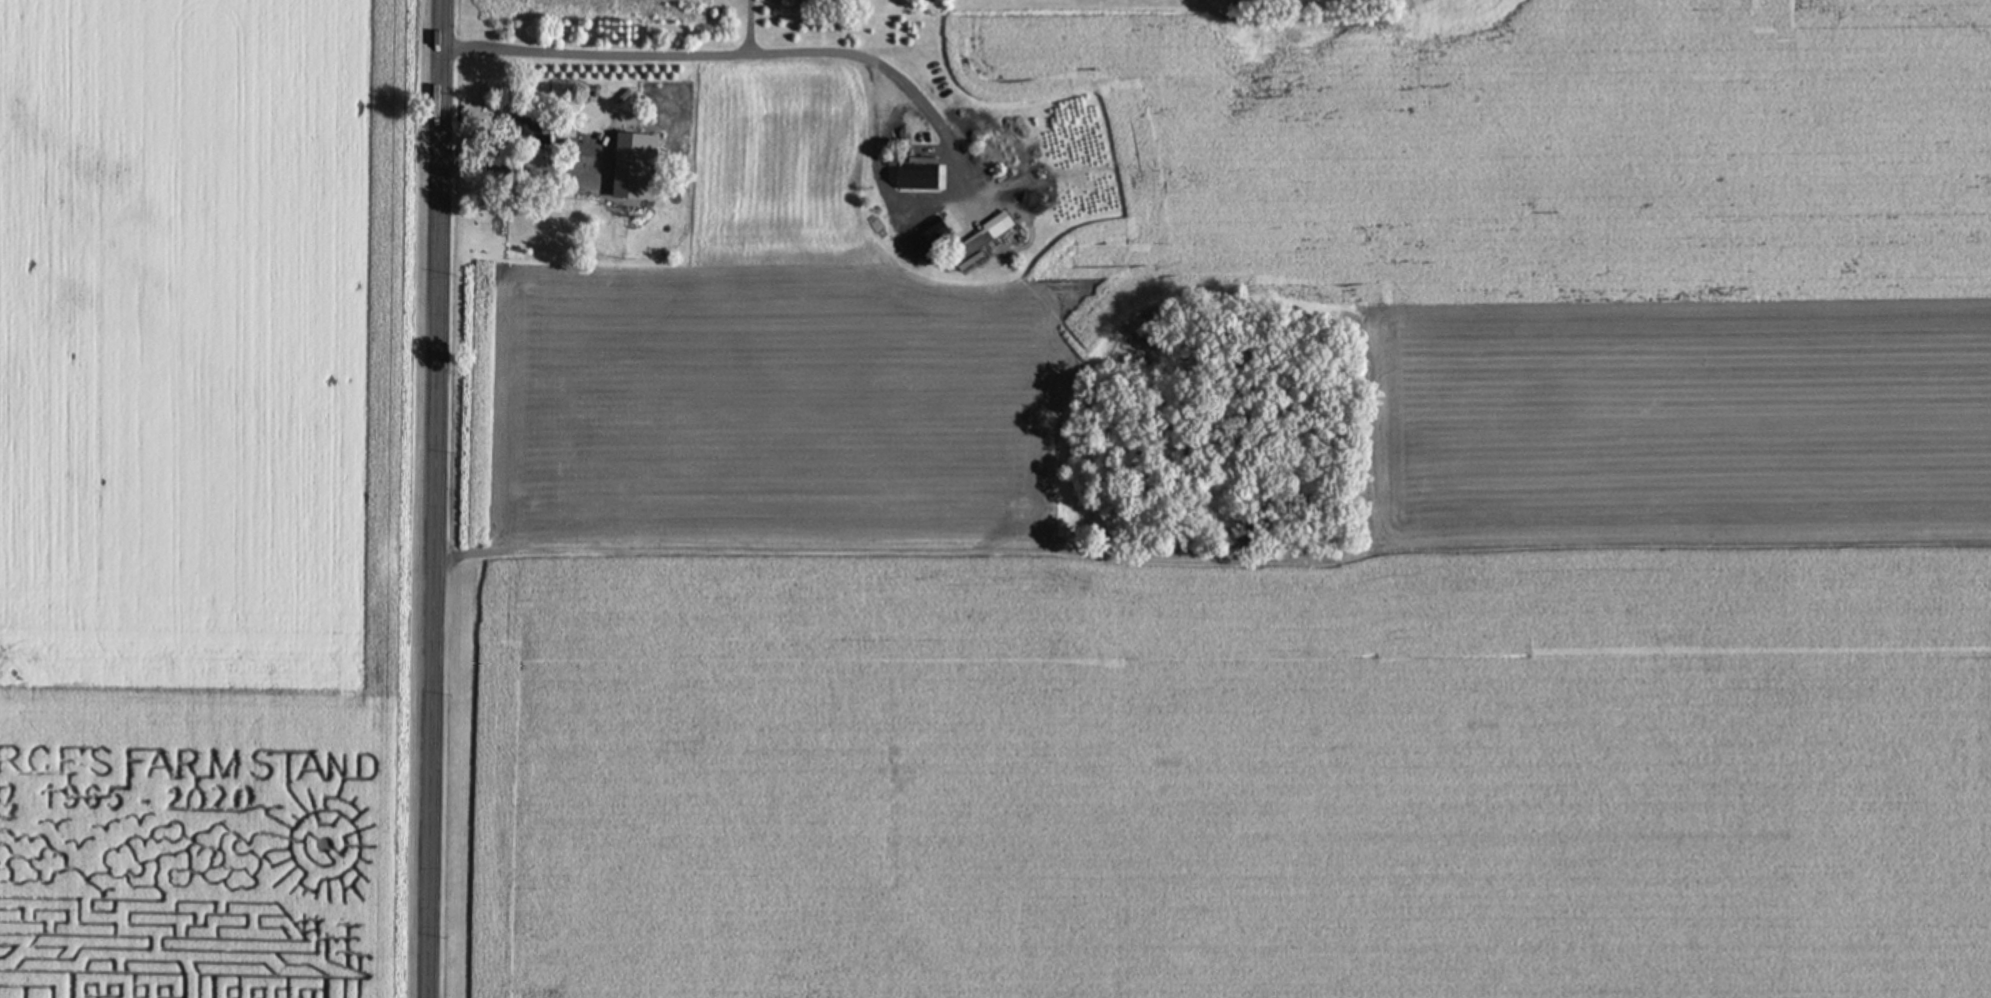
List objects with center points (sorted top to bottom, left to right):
road: (749, 25)
road: (738, 50)
building: (636, 159)
building: (919, 175)
building: (983, 235)
road: (432, 498)

